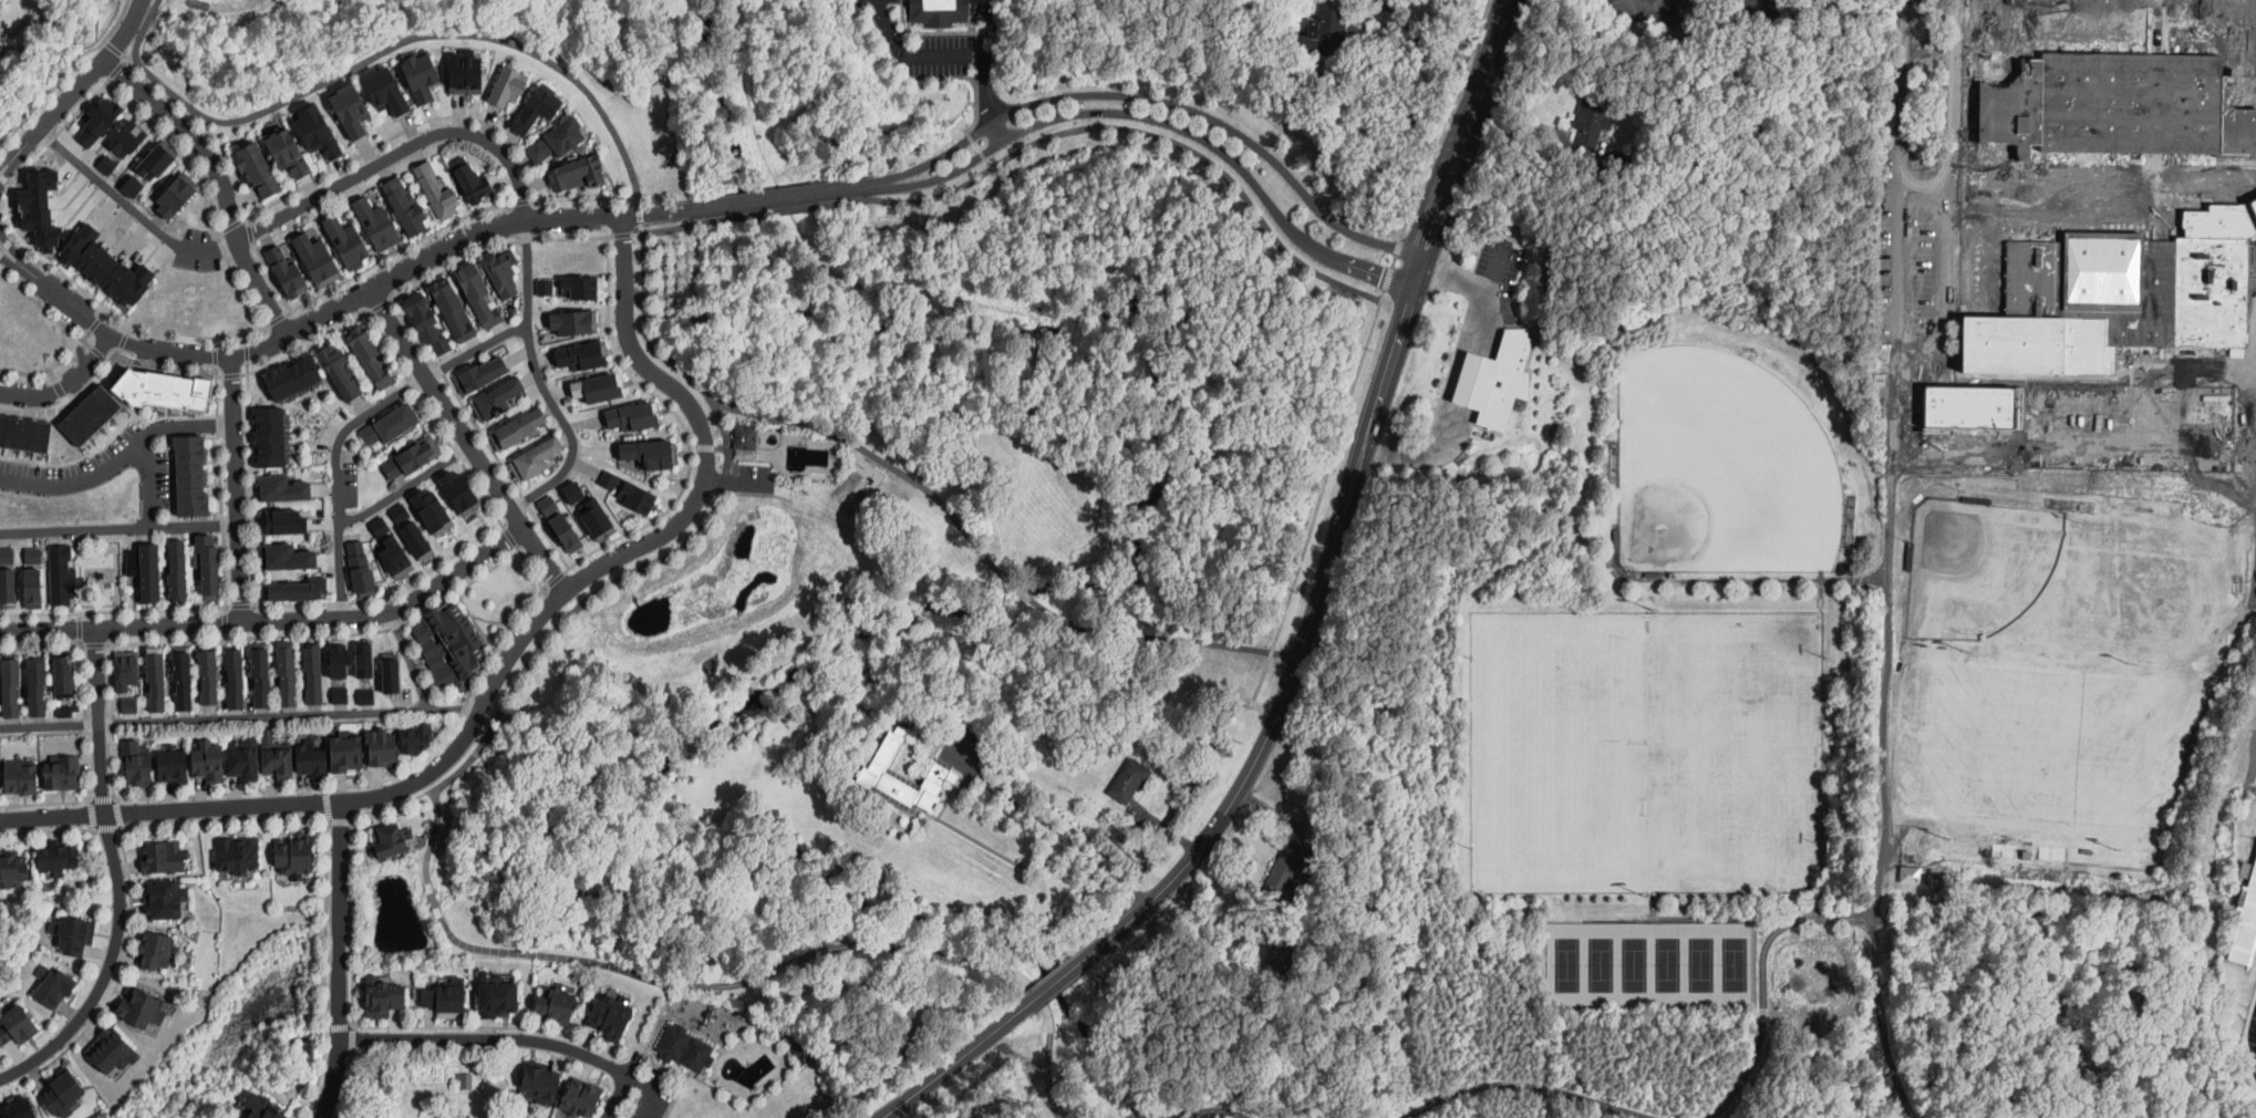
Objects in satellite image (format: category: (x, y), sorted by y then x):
building: (940, 10)
building: (1644, 10)
building: (1753, 11)
building: (1556, 21)
building: (1325, 30)
parking lot: (920, 43)
building: (1659, 44)
road: (384, 50)
road: (959, 53)
road: (118, 69)
building: (465, 70)
road: (66, 73)
building: (422, 73)
road: (82, 81)
building: (507, 85)
building: (384, 89)
road: (1159, 100)
building: (2110, 102)
building: (349, 106)
building: (536, 106)
building: (1593, 116)
road: (701, 118)
building: (96, 120)
road: (1160, 120)
road: (1466, 127)
building: (314, 130)
road: (404, 131)
road: (1146, 131)
building: (126, 137)
building: (555, 138)
road: (399, 151)
road: (1978, 151)
building: (289, 152)
road: (187, 155)
building: (155, 158)
road: (7, 159)
road: (228, 161)
building: (105, 162)
building: (257, 168)
road: (9, 170)
building: (576, 172)
building: (470, 176)
road: (3, 178)
road: (220, 178)
road: (9, 183)
building: (131, 184)
building: (434, 189)
building: (168, 195)
road: (788, 196)
road: (584, 198)
road: (522, 201)
building: (404, 206)
road: (132, 207)
building: (42, 208)
road: (785, 210)
road: (641, 213)
building: (376, 222)
road: (232, 224)
building: (1984, 226)
road: (674, 228)
road: (220, 230)
road: (251, 232)
road: (624, 232)
road: (1897, 235)
road: (14, 236)
road: (457, 239)
building: (346, 241)
road: (6, 245)
building: (1984, 249)
road: (396, 250)
road: (19, 257)
building: (315, 258)
road: (700, 263)
building: (108, 266)
building: (501, 268)
parking lot: (1499, 269)
building: (286, 271)
road: (1491, 273)
road: (271, 276)
building: (1984, 276)
parking lot: (1916, 280)
building: (577, 282)
building: (545, 286)
road: (83, 288)
building: (478, 292)
building: (2117, 294)
road: (31, 297)
road: (380, 304)
building: (453, 307)
road: (104, 312)
building: (412, 317)
building: (566, 318)
road: (277, 319)
building: (426, 319)
road: (94, 323)
flagpole: (1514, 324)
road: (130, 328)
road: (76, 334)
road: (86, 335)
road: (116, 335)
road: (245, 337)
road: (123, 340)
road: (215, 341)
road: (1367, 346)
road: (97, 351)
road: (247, 352)
building: (581, 353)
road: (743, 354)
road: (216, 355)
building: (356, 355)
road: (66, 359)
road: (107, 360)
road: (767, 361)
road: (397, 363)
road: (907, 365)
road: (167, 366)
road: (49, 368)
building: (330, 372)
building: (480, 372)
road: (52, 374)
road: (230, 374)
building: (293, 375)
road: (1459, 375)
building: (1498, 380)
road: (541, 381)
building: (591, 383)
road: (66, 384)
road: (59, 387)
road: (232, 389)
building: (498, 394)
building: (1958, 394)
road: (65, 398)
road: (69, 398)
building: (84, 411)
building: (635, 417)
road: (352, 422)
building: (390, 423)
road: (226, 424)
road: (173, 425)
building: (518, 426)
building: (23, 429)
building: (1524, 432)
building: (268, 436)
building: (749, 436)
road: (467, 439)
road: (710, 446)
building: (646, 453)
building: (410, 457)
building: (536, 457)
road: (883, 460)
park: (1716, 460)
parking lot: (751, 468)
building: (190, 473)
road: (236, 473)
building: (609, 478)
road: (72, 482)
road: (252, 483)
road: (739, 483)
road: (148, 484)
road: (406, 487)
building: (456, 487)
road: (221, 488)
building: (281, 488)
building: (565, 490)
building: (572, 490)
building: (635, 496)
road: (679, 498)
building: (1976, 500)
building: (428, 504)
building: (548, 504)
road: (716, 506)
building: (291, 517)
building: (596, 518)
road: (118, 527)
building: (407, 527)
building: (563, 531)
building: (384, 542)
building: (287, 553)
building: (1908, 556)
road: (529, 565)
building: (207, 566)
building: (362, 568)
road: (115, 569)
building: (177, 569)
building: (7, 571)
road: (239, 571)
park: (101, 572)
building: (146, 572)
building: (59, 573)
building: (30, 576)
road: (1851, 579)
building: (296, 587)
park: (2068, 587)
road: (532, 588)
road: (1023, 590)
road: (386, 594)
road: (241, 604)
road: (115, 610)
road: (2255, 612)
building: (436, 619)
road: (273, 620)
road: (475, 620)
road: (495, 621)
road: (226, 622)
road: (81, 628)
building: (454, 628)
road: (226, 634)
road: (271, 635)
road: (1161, 639)
road: (1304, 640)
building: (463, 642)
building: (428, 645)
building: (341, 659)
road: (410, 659)
building: (434, 659)
road: (504, 660)
building: (366, 661)
building: (458, 665)
building: (124, 667)
building: (260, 672)
building: (288, 672)
building: (278, 673)
building: (317, 673)
building: (393, 673)
building: (65, 674)
building: (209, 674)
building: (251, 674)
building: (306, 675)
building: (236, 676)
building: (200, 677)
building: (157, 679)
building: (184, 679)
road: (84, 683)
building: (12, 685)
building: (28, 686)
building: (4, 687)
building: (38, 687)
road: (1886, 691)
building: (341, 695)
building: (368, 696)
building: (126, 704)
building: (66, 712)
road: (289, 713)
road: (49, 723)
building: (414, 737)
building: (381, 746)
park: (2035, 746)
park: (1641, 750)
building: (345, 752)
building: (273, 754)
building: (242, 758)
building: (310, 758)
road: (469, 758)
building: (207, 759)
building: (136, 762)
building: (170, 764)
building: (63, 772)
building: (872, 772)
building: (19, 775)
building: (1129, 780)
road: (116, 797)
road: (89, 798)
road: (103, 798)
road: (44, 803)
road: (327, 804)
road: (118, 811)
road: (93, 814)
road: (225, 820)
road: (340, 821)
road: (107, 827)
road: (123, 828)
road: (1049, 828)
road: (45, 829)
road: (93, 829)
road: (433, 836)
building: (386, 841)
building: (1970, 848)
building: (299, 850)
building: (1985, 851)
building: (241, 852)
building: (55, 855)
building: (159, 856)
building: (12, 867)
road: (2154, 867)
building: (1282, 871)
building: (1911, 876)
road: (117, 877)
building: (1337, 879)
road: (631, 886)
road: (1376, 886)
building: (162, 898)
road: (435, 899)
road: (1663, 915)
road: (1786, 918)
road: (1836, 918)
building: (2245, 922)
road: (1903, 930)
building: (74, 934)
building: (1323, 946)
building: (153, 949)
road: (551, 954)
road: (800, 956)
building: (1279, 956)
road: (339, 960)
road: (1915, 962)
park: (1650, 964)
building: (2188, 965)
road: (324, 971)
road: (1013, 974)
road: (113, 984)
building: (1294, 984)
building: (55, 985)
road: (1048, 986)
road: (909, 992)
building: (382, 996)
building: (497, 996)
building: (449, 998)
building: (557, 1004)
building: (142, 1007)
road: (1929, 1007)
building: (611, 1016)
road: (1882, 1021)
road: (1765, 1022)
road: (339, 1024)
building: (18, 1026)
road: (407, 1026)
road: (652, 1029)
road: (354, 1036)
road: (487, 1037)
track: (2252, 1039)
building: (685, 1045)
building: (112, 1050)
road: (353, 1052)
building: (801, 1053)
road: (1926, 1056)
road: (953, 1065)
road: (634, 1078)
building: (465, 1080)
building: (540, 1080)
road: (1042, 1081)
road: (1525, 1083)
road: (346, 1085)
parking lot: (642, 1090)
road: (1936, 1090)
building: (62, 1093)
building: (582, 1097)
road: (1007, 1097)
road: (1540, 1100)
building: (17, 1106)
building: (265, 1107)
building: (436, 1117)

